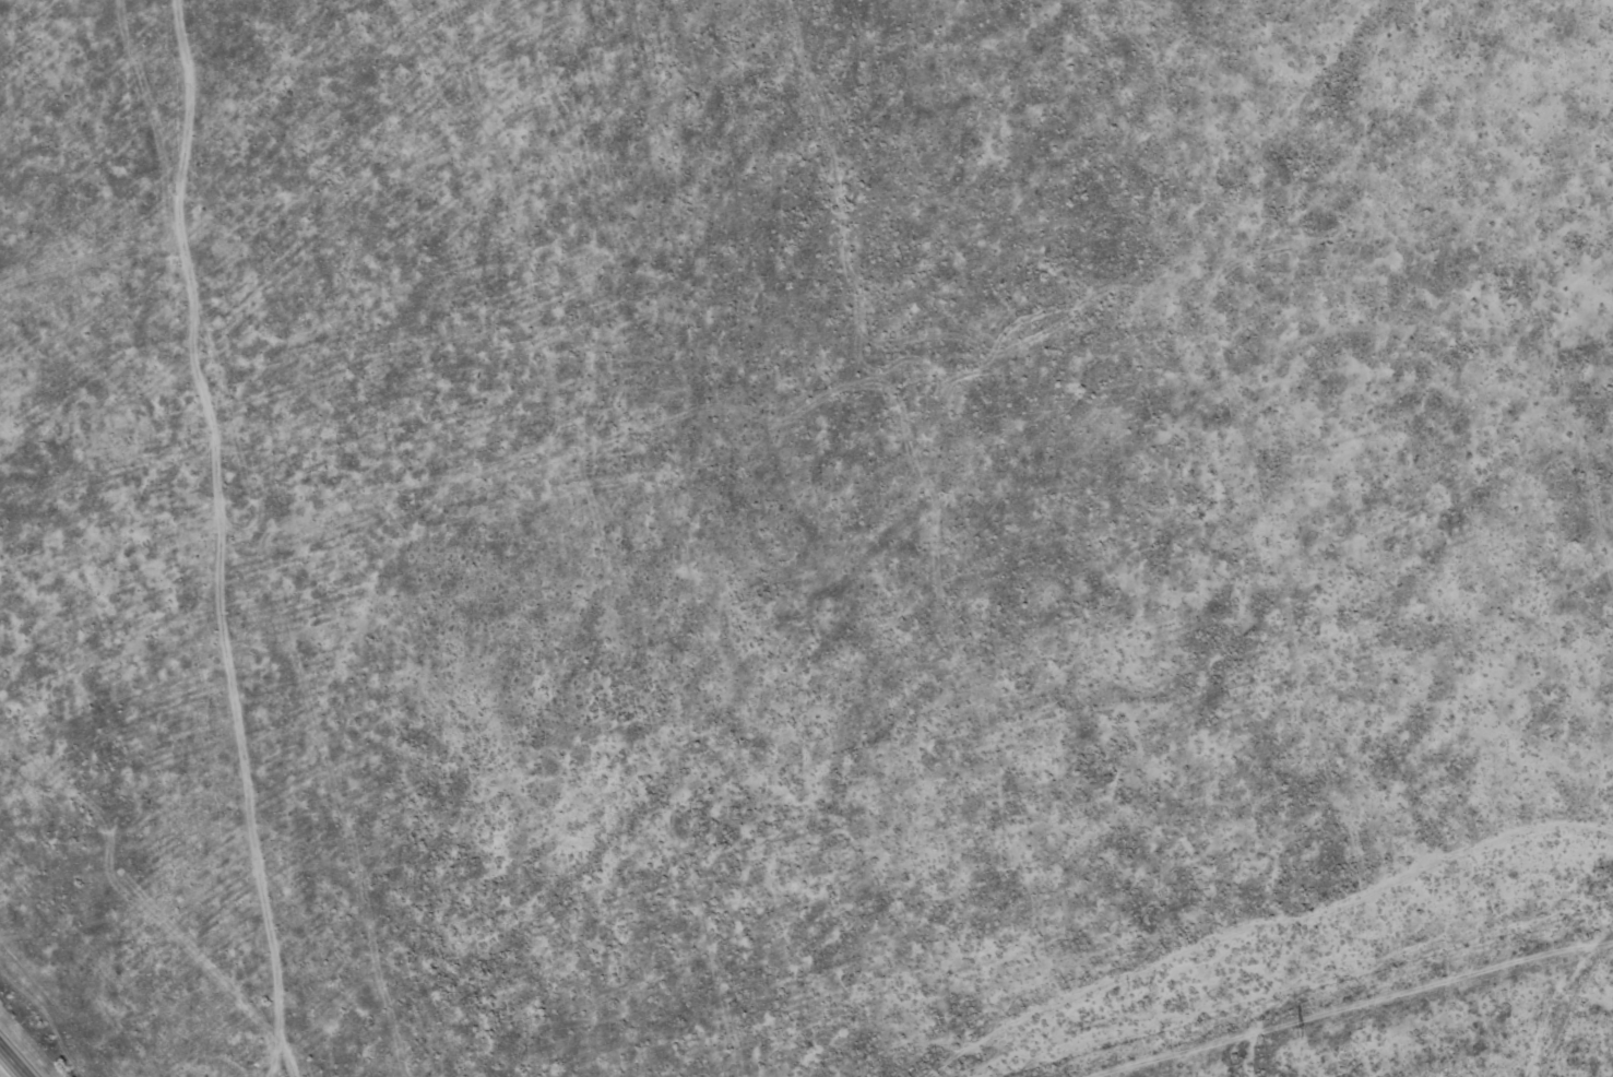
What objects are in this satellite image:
power tower: (1301, 1032)
road: (11, 1064)

